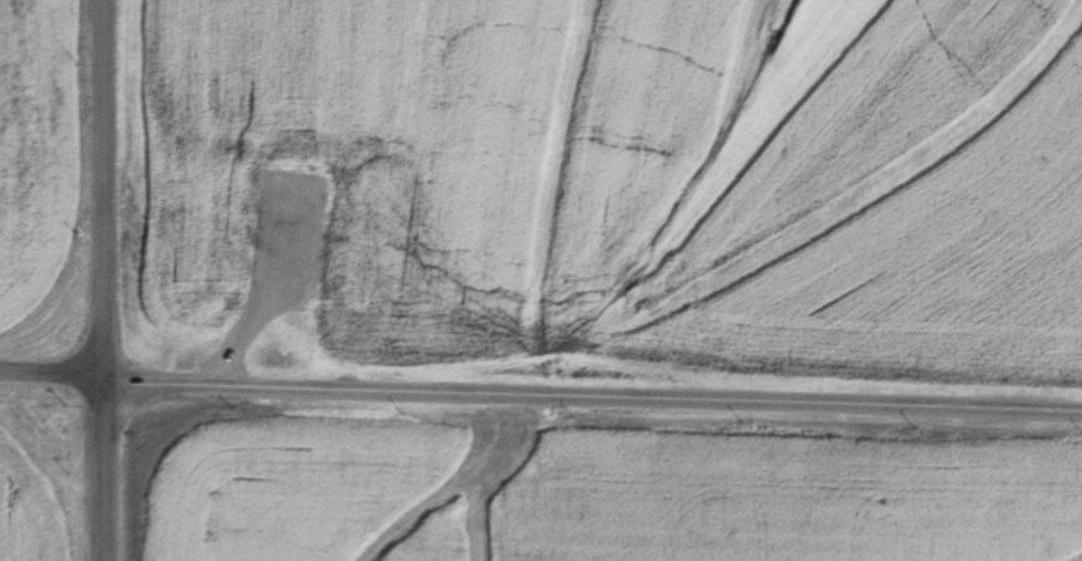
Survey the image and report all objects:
building: (195, 270)
road: (103, 280)
building: (292, 280)
building: (355, 311)
road: (51, 375)
road: (591, 398)

